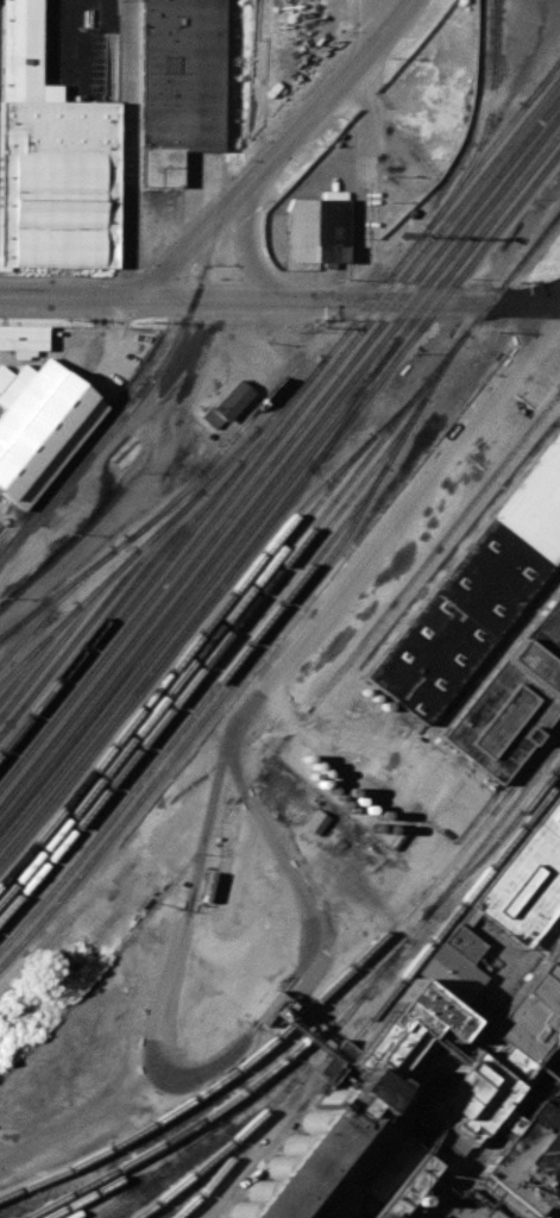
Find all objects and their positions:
road: (370, 25)
building: (19, 49)
railway: (229, 80)
building: (178, 84)
railway: (542, 84)
railway: (485, 121)
road: (278, 147)
road: (128, 151)
railway: (464, 178)
building: (57, 183)
building: (315, 228)
road: (245, 245)
road: (74, 296)
road: (354, 300)
building: (23, 337)
railway: (150, 384)
building: (228, 400)
railway: (351, 406)
building: (39, 426)
railway: (279, 431)
railway: (279, 450)
railway: (216, 453)
railway: (279, 466)
road: (149, 476)
railway: (281, 486)
railway: (281, 503)
road: (397, 520)
railway: (184, 534)
railway: (131, 535)
railway: (153, 540)
railway: (281, 565)
road: (429, 566)
building: (474, 591)
railway: (93, 597)
railway: (114, 602)
railway: (52, 603)
railway: (23, 621)
railway: (64, 621)
railway: (239, 636)
railway: (209, 638)
railway: (38, 643)
railway: (182, 655)
railway: (219, 679)
building: (512, 696)
railway: (199, 721)
road: (331, 753)
building: (315, 822)
railway: (496, 846)
building: (528, 885)
railway: (373, 985)
railway: (388, 999)
railway: (312, 1007)
road: (208, 1067)
road: (439, 1067)
railway: (229, 1101)
building: (483, 1118)
railway: (215, 1129)
railway: (497, 1138)
building: (308, 1149)
silo: (308, 1149)
railway: (220, 1153)
railway: (139, 1170)
railway: (461, 1170)
railway: (331, 1181)
railway: (130, 1192)

